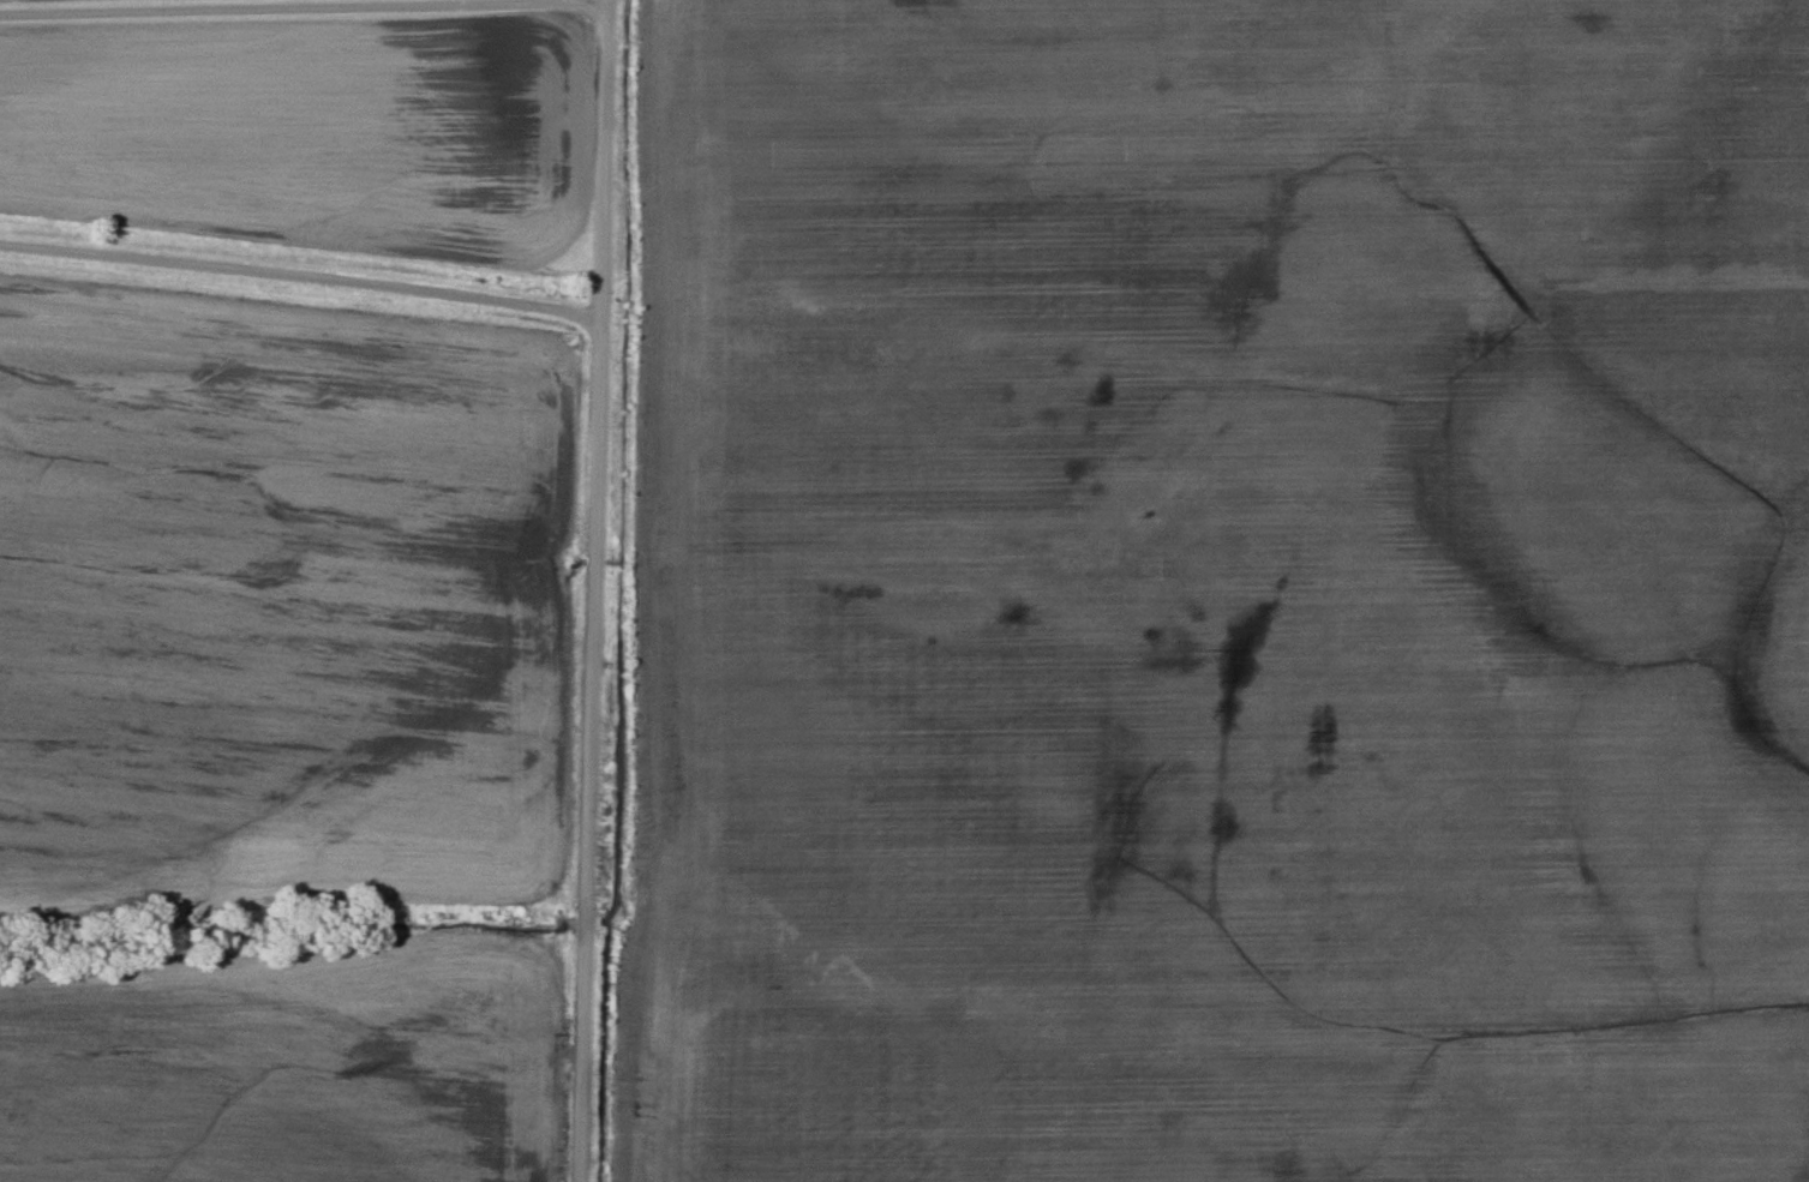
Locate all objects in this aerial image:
road: (303, 23)
road: (299, 272)
road: (591, 590)
crop: (1223, 593)

